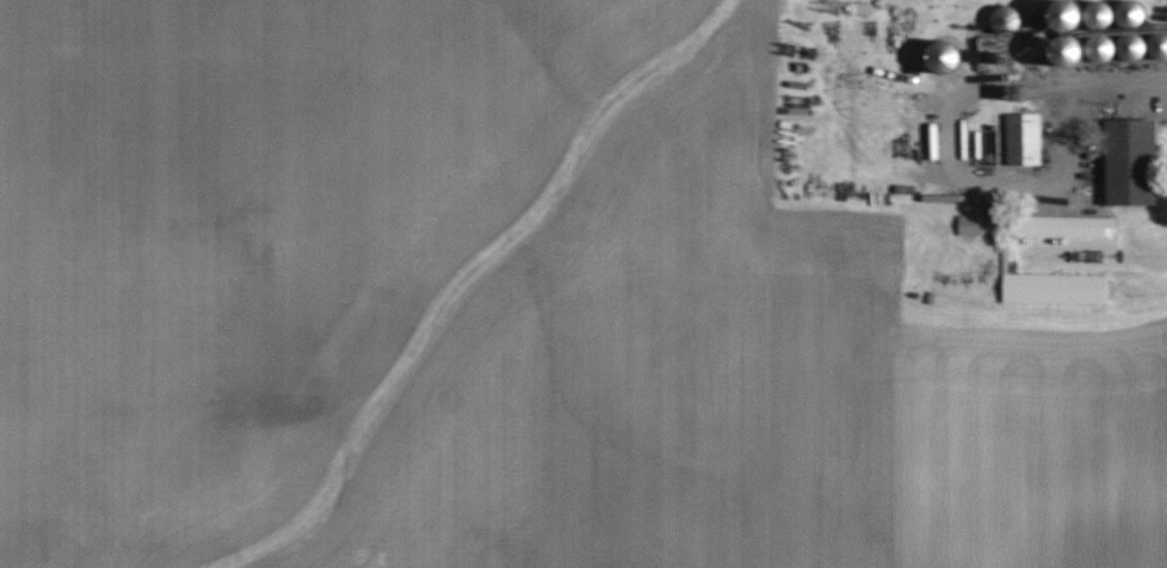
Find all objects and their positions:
building: (1109, 29)
road: (1149, 82)
building: (1023, 138)
building: (1130, 161)
building: (1055, 289)

